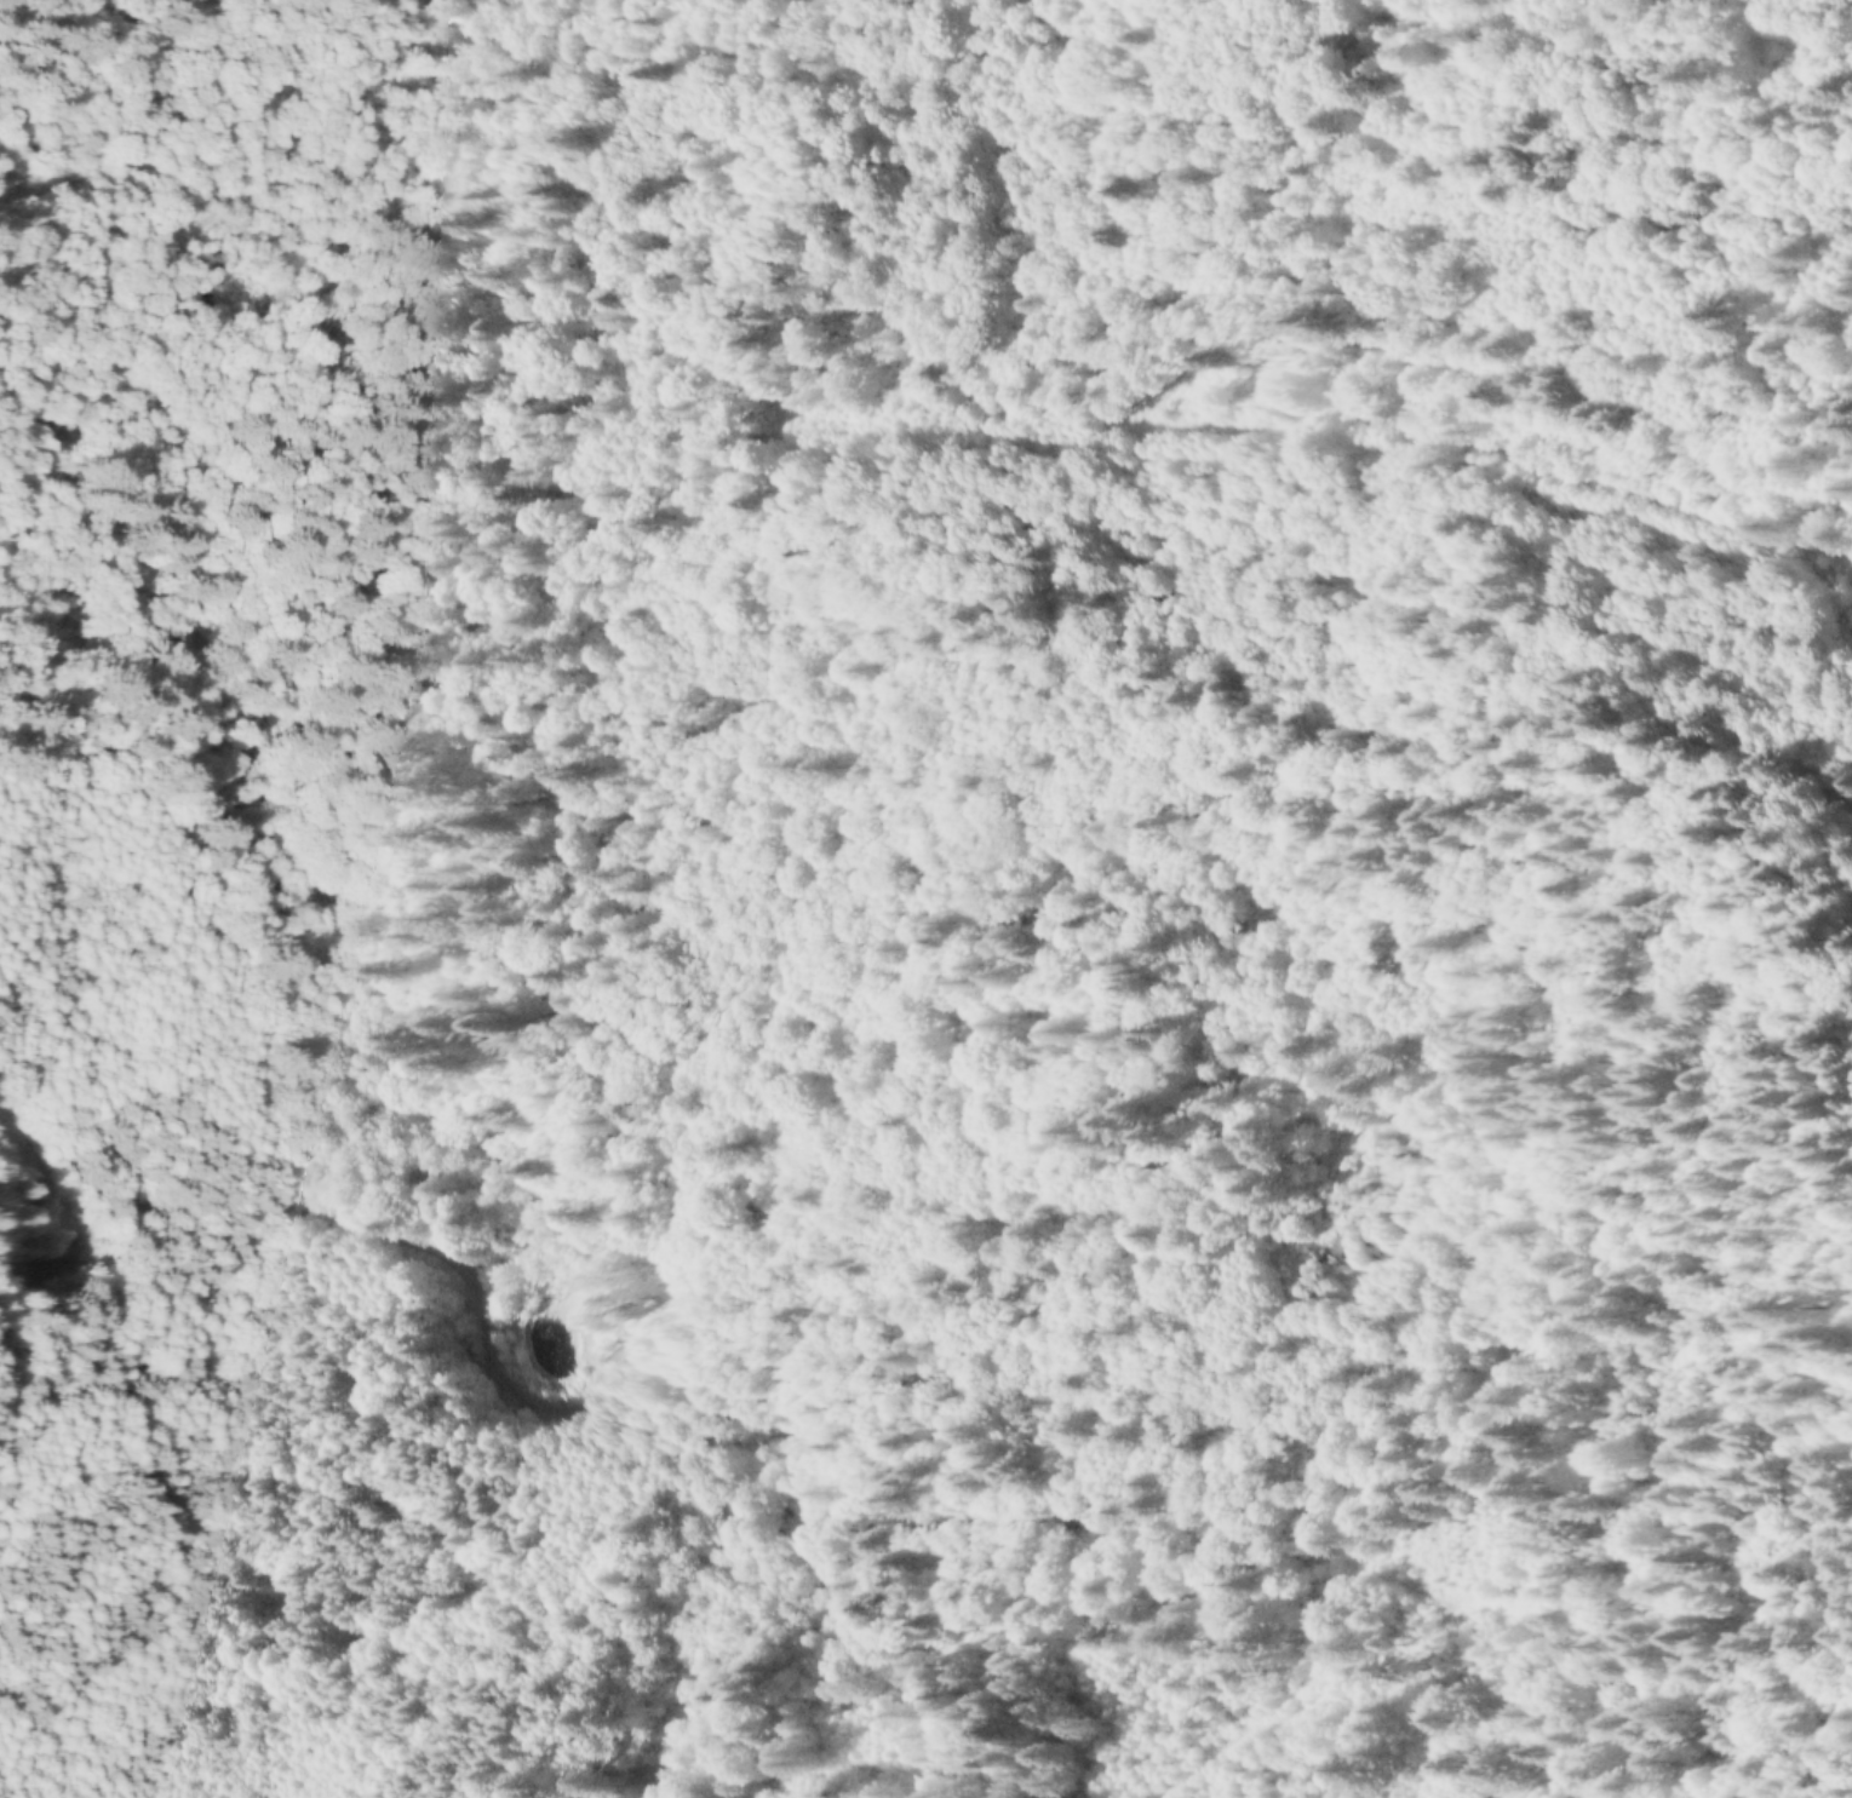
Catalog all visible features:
road: (1773, 216)
road: (167, 248)
road: (288, 987)
road: (637, 1602)

